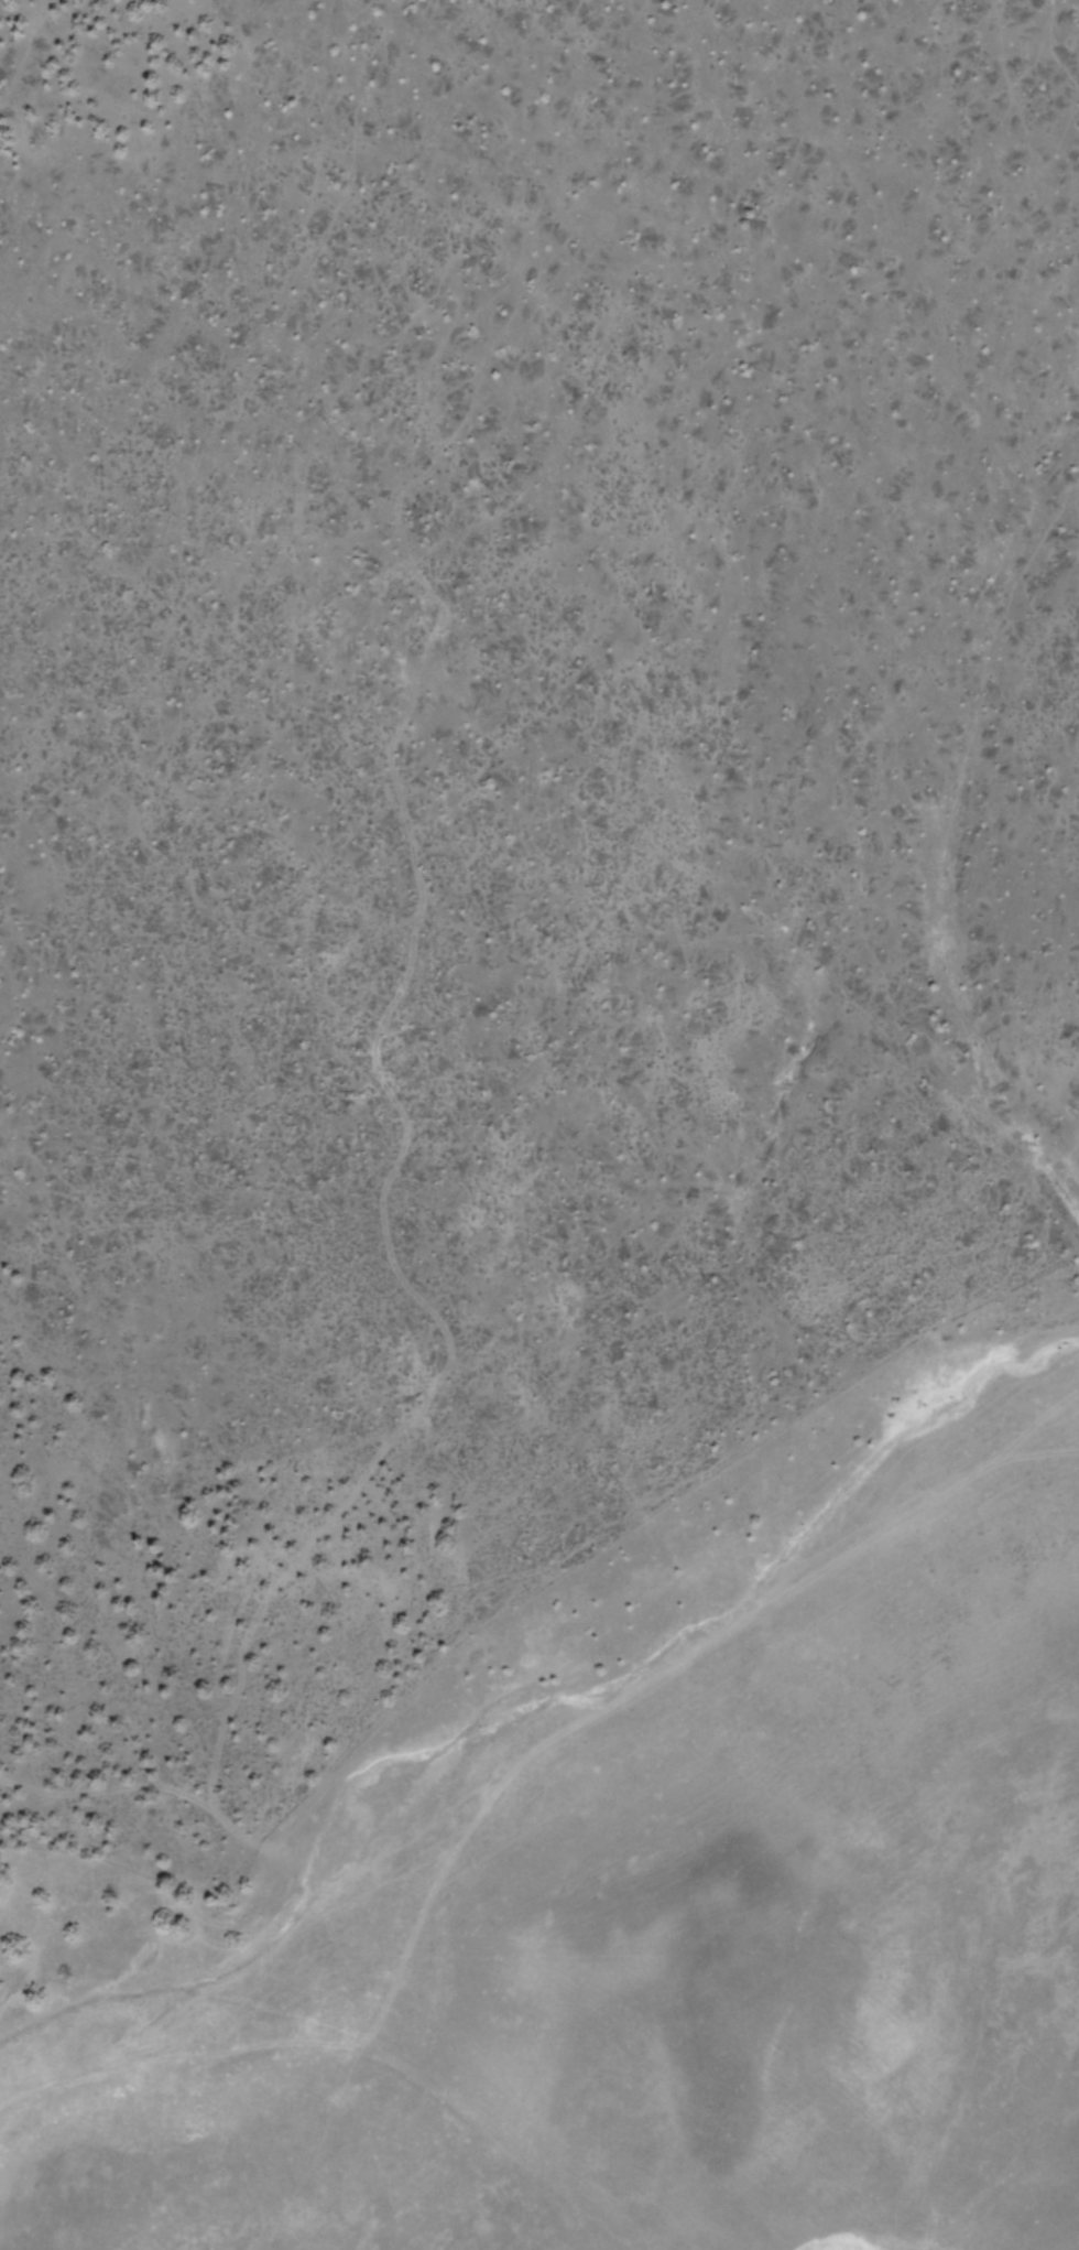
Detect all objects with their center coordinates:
road: (348, 2055)

